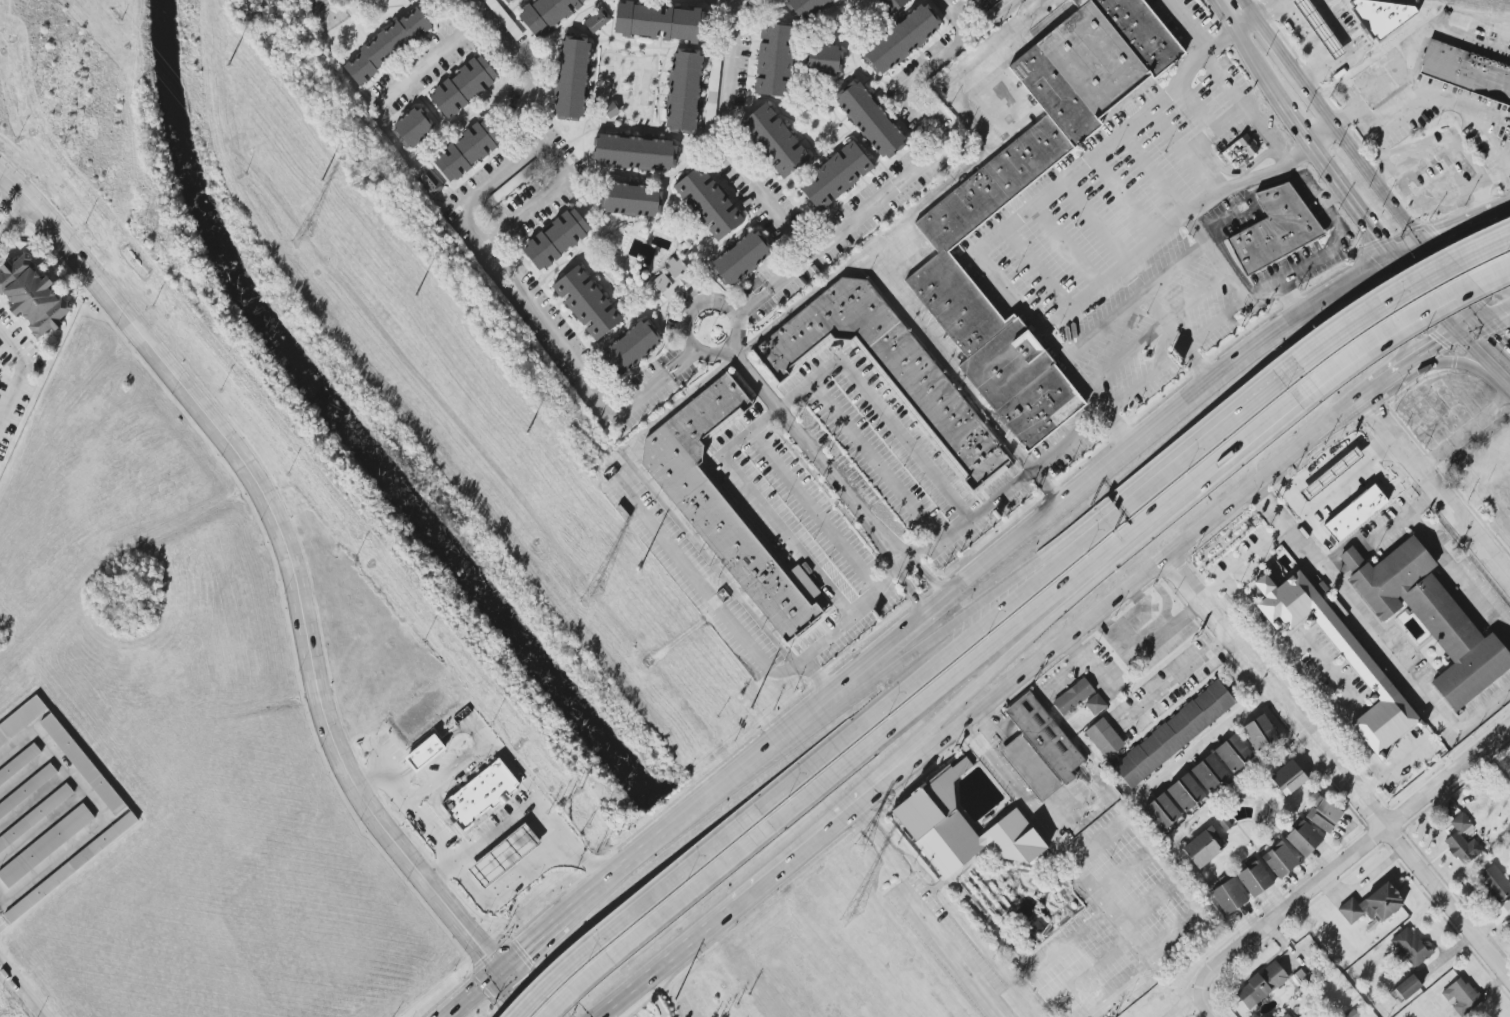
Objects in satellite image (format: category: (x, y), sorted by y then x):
building: (409, 0)
building: (510, 1)
building: (890, 5)
building: (804, 7)
road: (725, 8)
road: (1247, 8)
road: (1266, 8)
building: (546, 14)
road: (1222, 15)
building: (1380, 16)
road: (959, 17)
building: (504, 18)
building: (597, 20)
building: (660, 22)
road: (1187, 23)
road: (1243, 23)
road: (1432, 26)
building: (1319, 27)
building: (901, 38)
road: (1272, 42)
building: (386, 45)
road: (1349, 50)
road: (434, 55)
building: (824, 59)
building: (775, 60)
road: (528, 65)
road: (1257, 67)
building: (1467, 70)
building: (572, 78)
building: (1382, 79)
building: (463, 86)
building: (684, 91)
road: (1438, 96)
road: (1245, 108)
building: (611, 110)
road: (1344, 117)
building: (870, 119)
building: (413, 127)
road: (1447, 139)
building: (774, 140)
road: (720, 142)
road: (1489, 143)
building: (468, 150)
building: (1240, 150)
building: (634, 152)
road: (1355, 155)
building: (836, 175)
road: (908, 178)
road: (1334, 181)
building: (430, 182)
road: (1406, 193)
road: (8, 196)
building: (631, 199)
building: (708, 203)
road: (1502, 205)
road: (1485, 213)
road: (15, 216)
road: (1182, 220)
road: (1012, 224)
building: (1274, 229)
road: (1448, 229)
building: (948, 234)
power tower: (301, 239)
building: (556, 239)
traffic signals: (1421, 241)
road: (1206, 248)
road: (1406, 248)
road: (1325, 254)
traffic signals: (1392, 255)
building: (740, 257)
road: (490, 261)
road: (1475, 262)
building: (673, 279)
road: (1221, 281)
road: (1424, 292)
road: (1400, 293)
road: (1464, 294)
building: (32, 296)
building: (586, 302)
road: (1399, 308)
road: (1406, 314)
traffic signals: (1482, 317)
road: (1282, 326)
traffic signals: (1456, 330)
road: (1154, 331)
road: (1451, 332)
road: (765, 333)
road: (1485, 338)
building: (632, 346)
road: (695, 348)
road: (1474, 350)
road: (1446, 360)
building: (887, 367)
road: (18, 374)
road: (1429, 375)
road: (1501, 379)
road: (960, 383)
road: (1380, 383)
road: (781, 404)
road: (1373, 411)
road: (1254, 427)
road: (1465, 432)
road: (1070, 438)
road: (1190, 451)
road: (816, 454)
road: (873, 460)
building: (1331, 473)
road: (1273, 482)
road: (1435, 489)
road: (1329, 496)
building: (721, 505)
road: (812, 511)
building: (1356, 512)
road: (1360, 538)
park: (1224, 539)
road: (909, 560)
road: (1242, 561)
road: (1443, 562)
road: (1172, 565)
road: (927, 577)
road: (970, 579)
road: (296, 581)
road: (912, 590)
power tower: (594, 594)
building: (1429, 617)
road: (1375, 634)
road: (1062, 638)
road: (922, 647)
road: (984, 650)
building: (1363, 665)
road: (1177, 673)
road: (920, 675)
road: (816, 679)
road: (981, 679)
road: (1313, 688)
building: (1072, 696)
building: (1095, 704)
building: (21, 720)
building: (1174, 733)
building: (1260, 733)
building: (1104, 738)
road: (1209, 742)
building: (1040, 748)
road: (478, 752)
building: (425, 753)
building: (1234, 753)
building: (19, 763)
building: (83, 764)
road: (1336, 768)
building: (1210, 773)
building: (1288, 777)
building: (28, 790)
building: (1186, 792)
building: (480, 794)
road: (890, 796)
road: (405, 807)
road: (527, 808)
building: (1162, 812)
building: (1323, 814)
building: (35, 816)
building: (961, 827)
road: (662, 834)
building: (1304, 838)
building: (1462, 841)
building: (45, 845)
power tower: (861, 847)
building: (1203, 848)
building: (504, 854)
road: (1348, 857)
building: (1280, 860)
building: (71, 867)
road: (1079, 870)
building: (1255, 878)
road: (502, 882)
building: (1495, 882)
building: (1229, 896)
building: (1373, 905)
road: (634, 910)
power tower: (854, 911)
road: (656, 919)
road: (530, 942)
building: (1410, 947)
road: (680, 949)
road: (954, 952)
traffic signals: (498, 969)
road: (24, 985)
building: (1261, 985)
building: (1406, 988)
road: (469, 993)
building: (1462, 997)
road: (1202, 1006)
road: (1184, 1007)
building: (1288, 1015)

